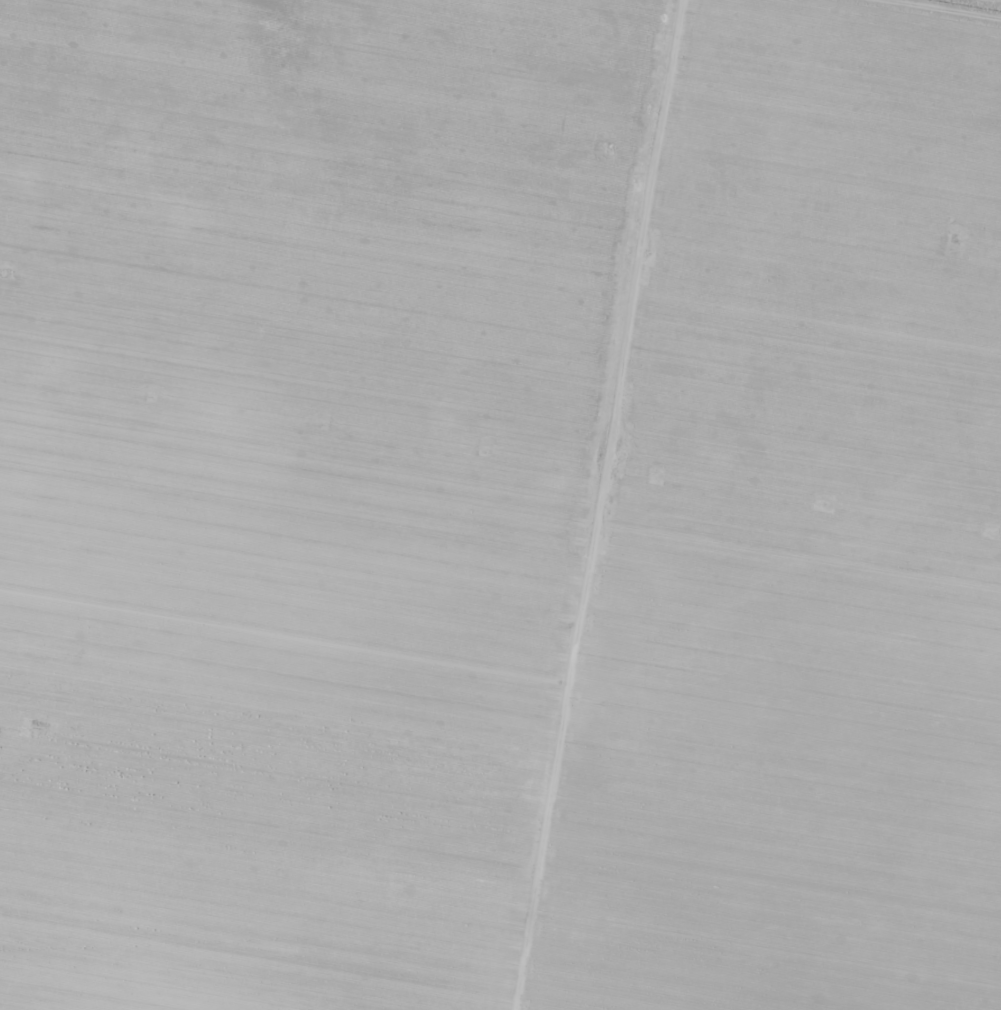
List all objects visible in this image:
road: (594, 504)
landfill: (996, 982)

